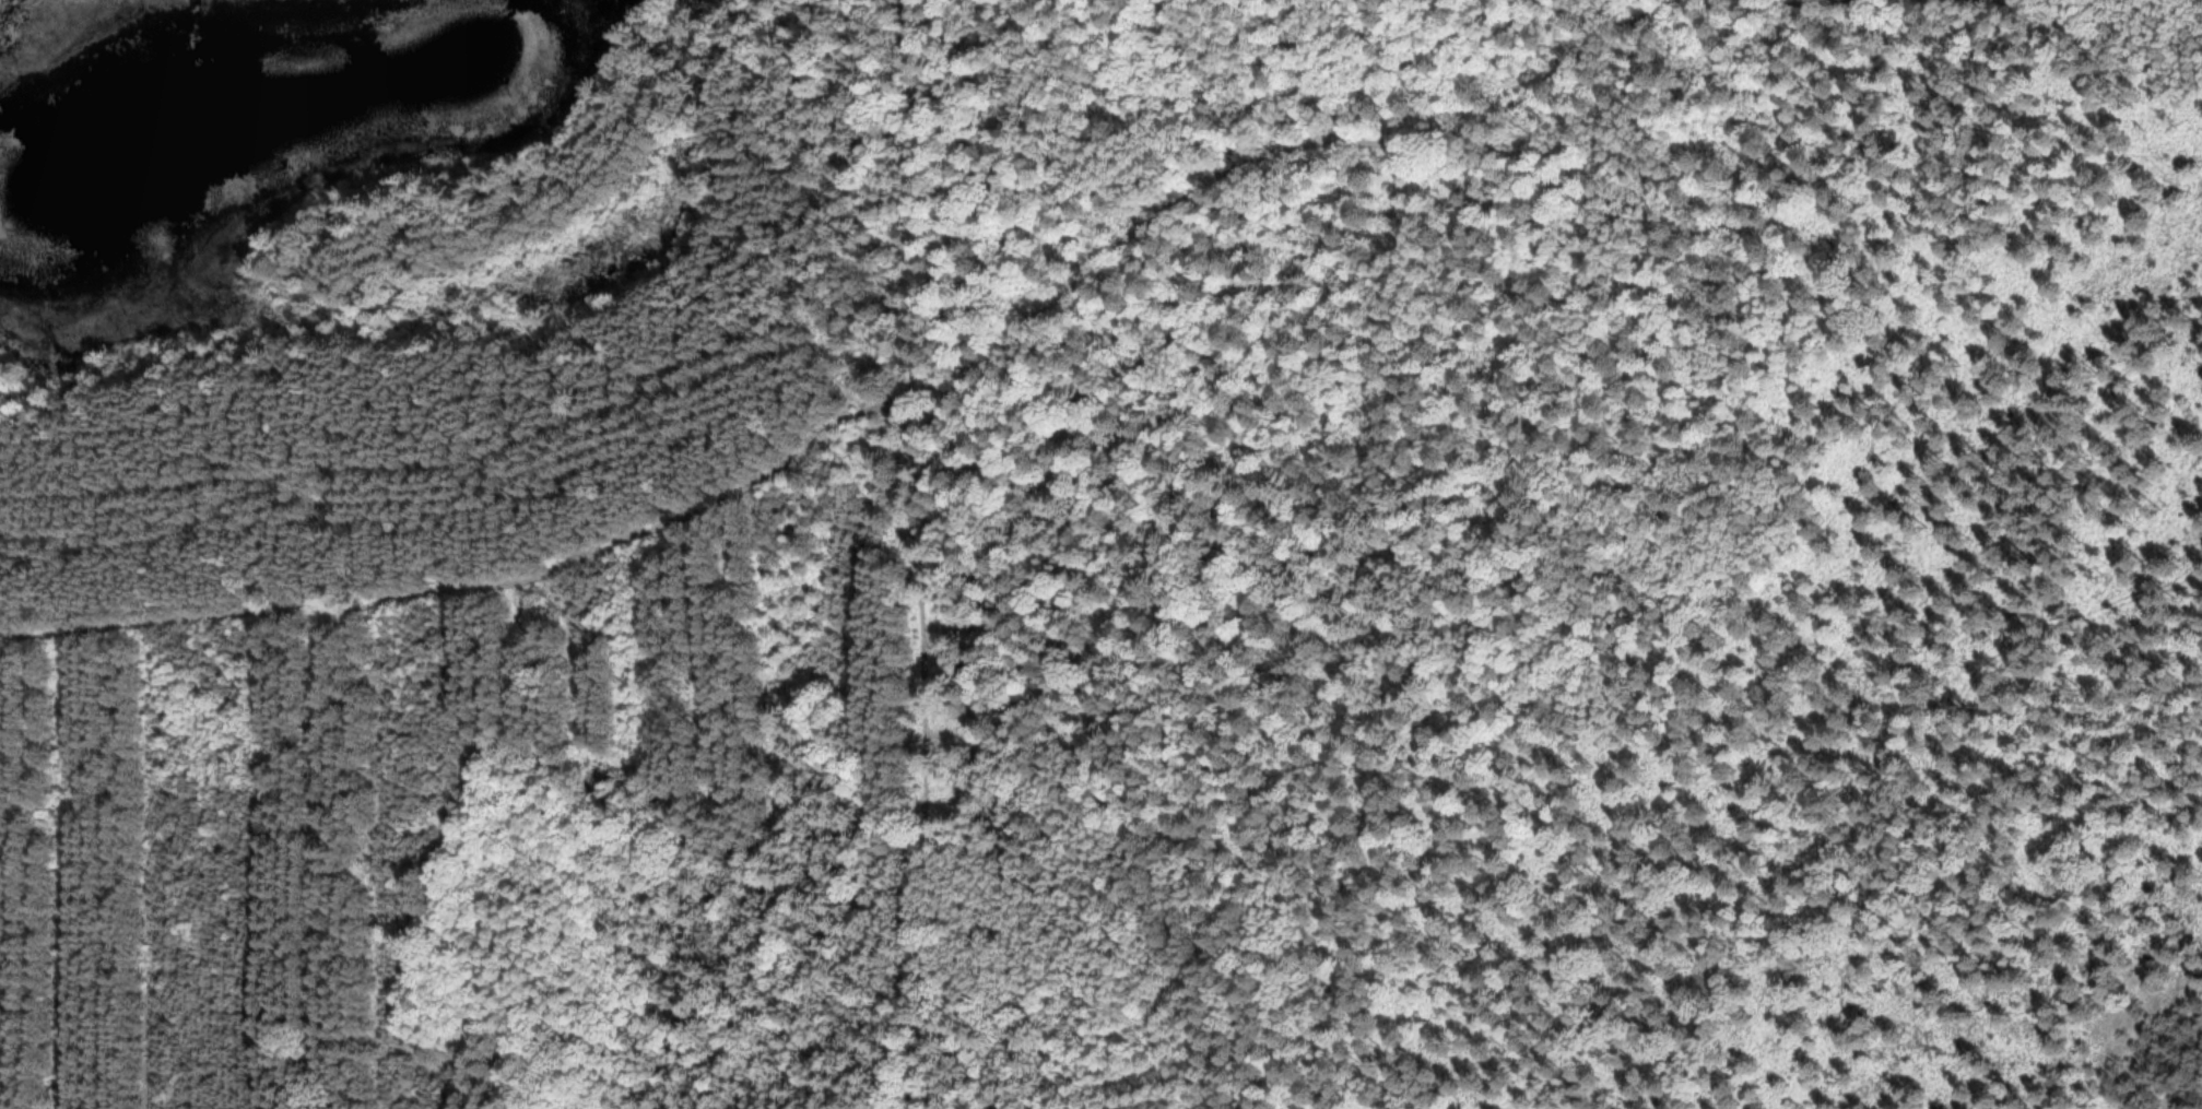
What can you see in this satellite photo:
road: (2085, 1)
road: (879, 403)
road: (915, 736)

